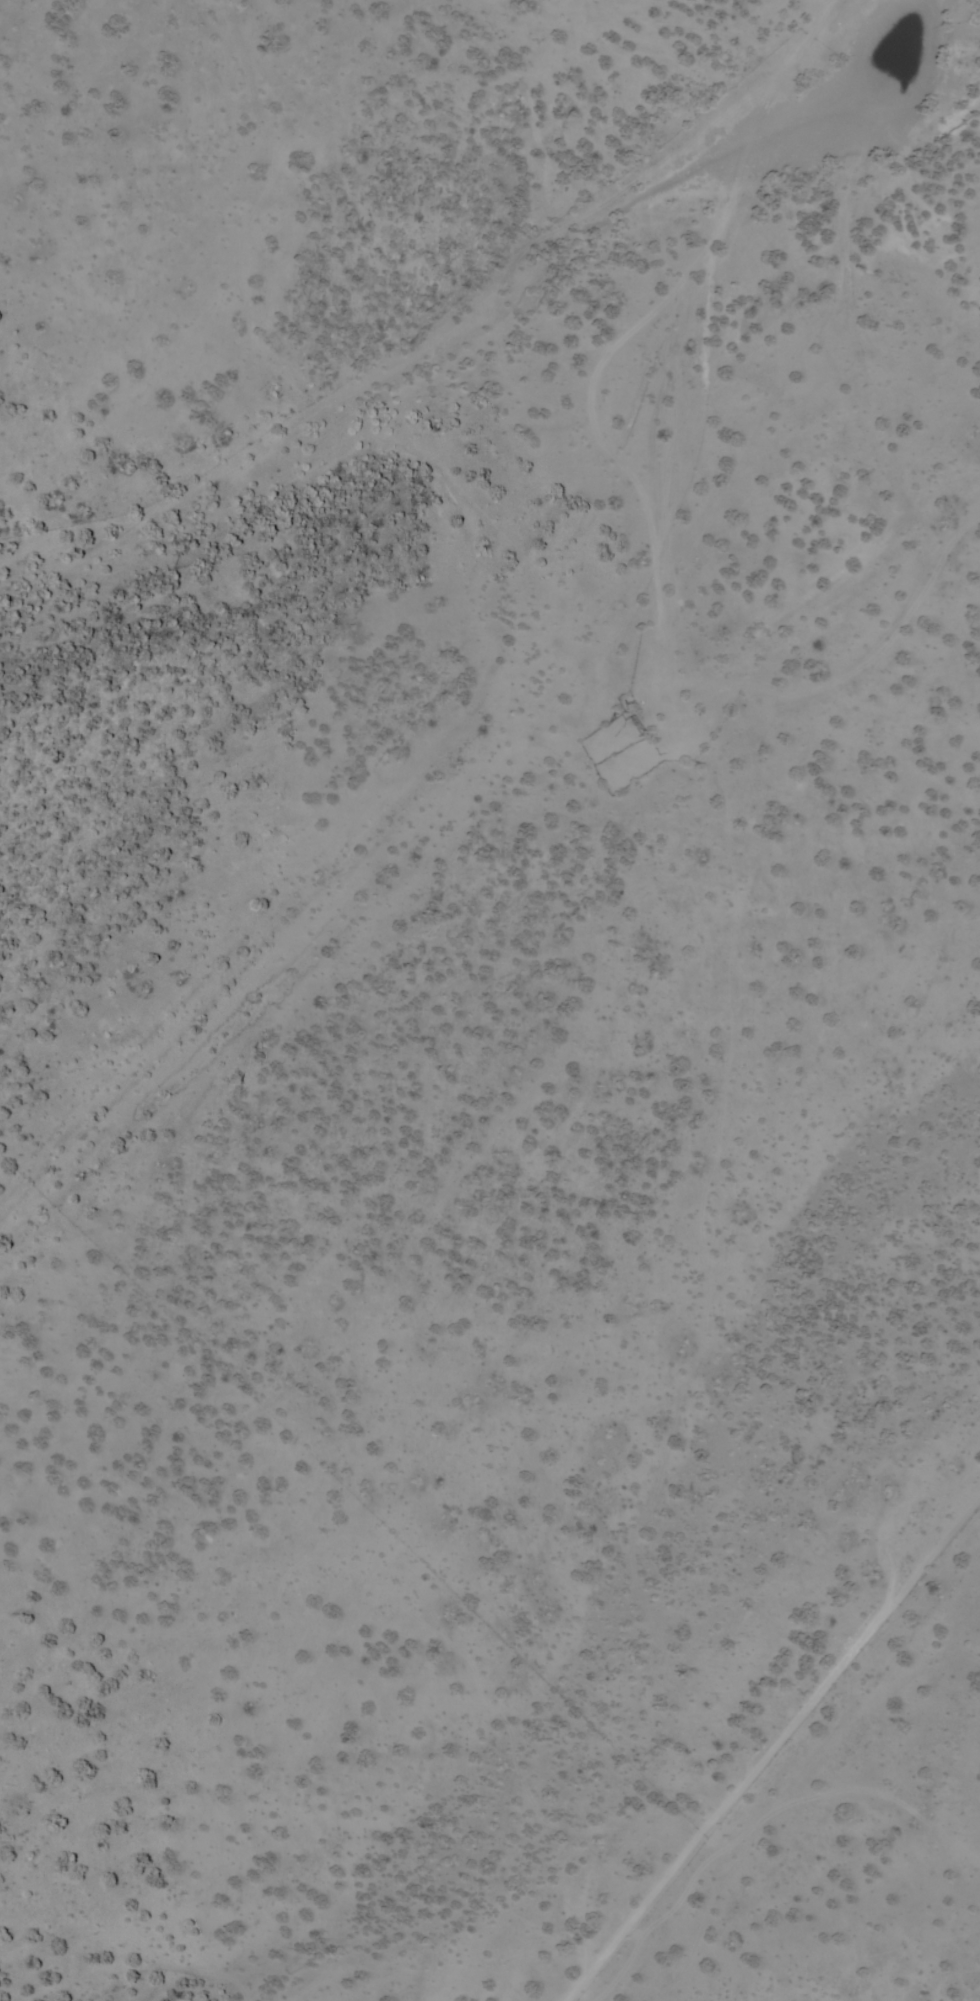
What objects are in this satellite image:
road: (875, 659)

